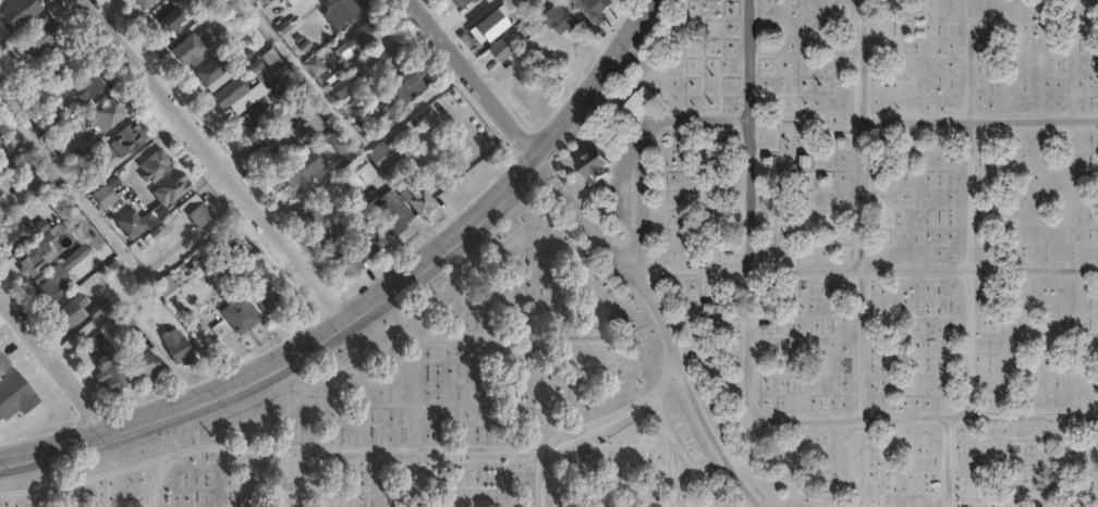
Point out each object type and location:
building: (1, 1)
building: (260, 2)
building: (295, 2)
building: (464, 2)
building: (146, 3)
building: (594, 7)
building: (340, 11)
building: (21, 12)
building: (175, 20)
building: (500, 20)
building: (559, 21)
building: (363, 37)
building: (40, 39)
building: (501, 48)
building: (515, 48)
building: (194, 49)
building: (389, 58)
building: (63, 59)
building: (316, 66)
building: (212, 72)
road: (473, 76)
building: (405, 87)
building: (86, 90)
building: (339, 90)
building: (231, 94)
building: (631, 99)
building: (109, 118)
building: (367, 121)
road: (980, 121)
building: (4, 125)
building: (253, 125)
building: (314, 126)
building: (129, 139)
building: (337, 140)
road: (637, 148)
building: (388, 153)
building: (107, 156)
building: (588, 158)
road: (216, 160)
building: (10, 163)
building: (161, 165)
building: (304, 171)
building: (37, 182)
building: (176, 186)
building: (109, 193)
building: (418, 198)
building: (4, 205)
road: (974, 207)
road: (866, 208)
building: (197, 211)
building: (395, 213)
building: (310, 217)
building: (145, 222)
building: (13, 237)
building: (371, 239)
building: (228, 245)
building: (349, 264)
building: (33, 265)
road: (865, 267)
building: (184, 271)
building: (52, 289)
building: (162, 290)
park: (725, 295)
road: (373, 297)
building: (267, 299)
building: (240, 312)
building: (70, 313)
road: (658, 324)
building: (176, 348)
building: (4, 361)
road: (53, 363)
building: (145, 367)
building: (108, 376)
road: (746, 381)
building: (16, 396)
road: (351, 449)
road: (671, 449)
road: (947, 461)
road: (695, 474)
road: (538, 478)
road: (156, 479)

